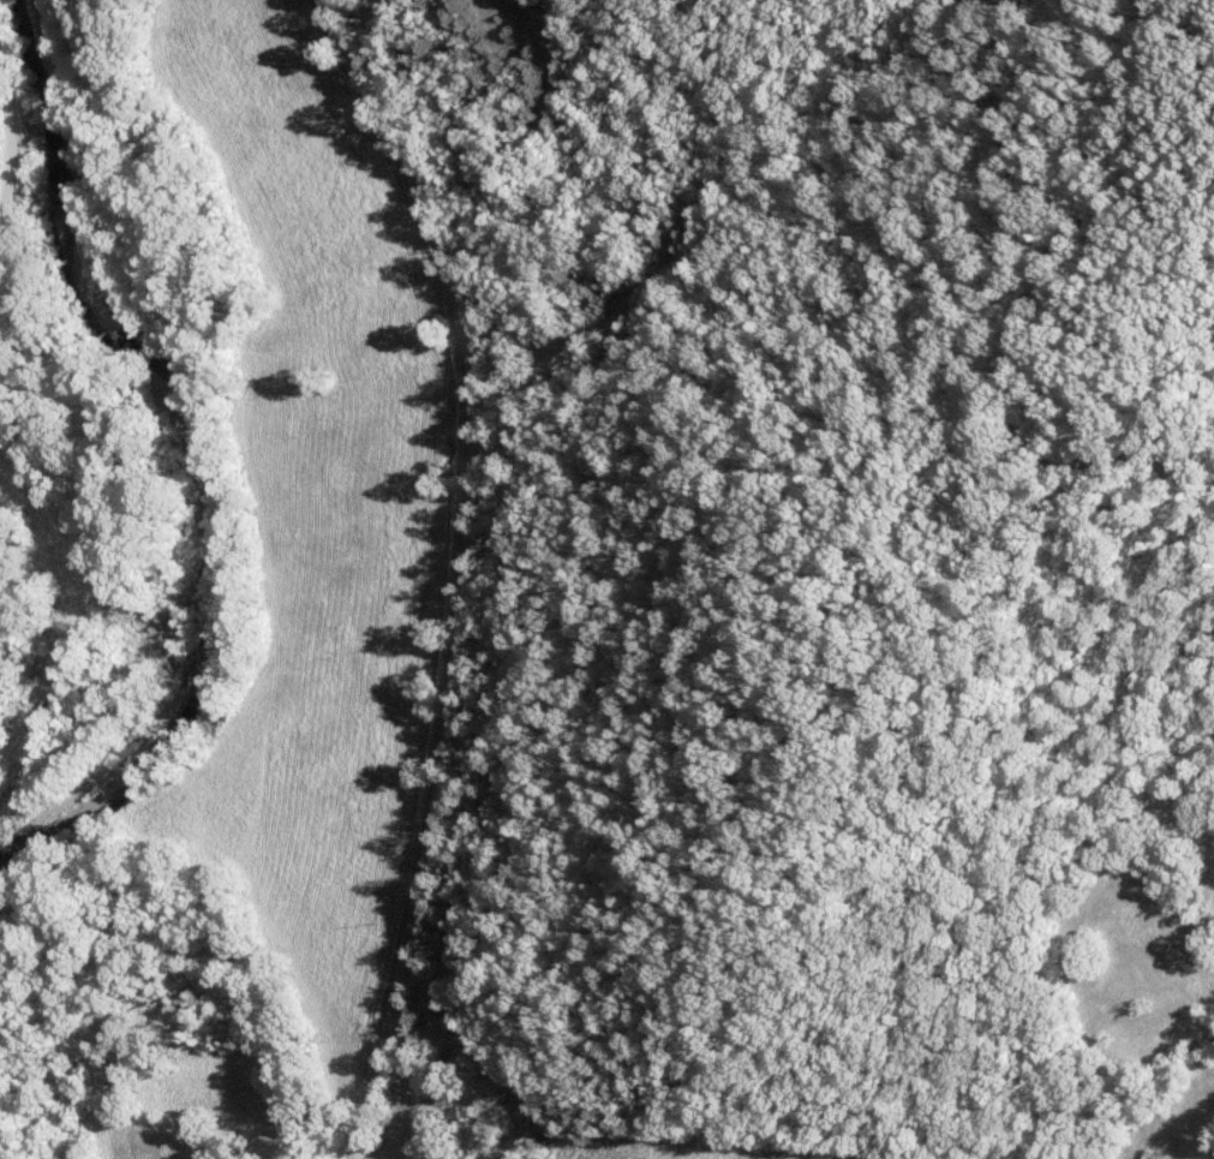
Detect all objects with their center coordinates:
road: (10, 171)
road: (466, 569)
river: (131, 759)

